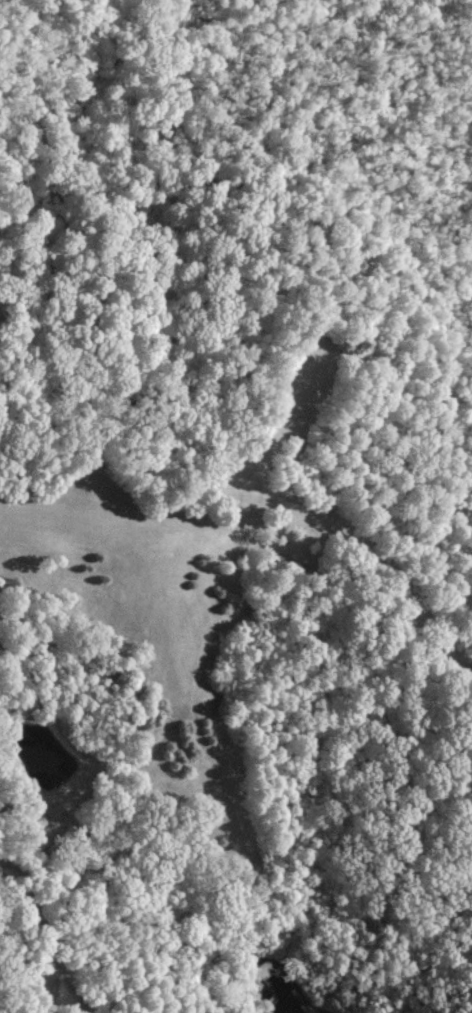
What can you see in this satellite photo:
road: (44, 949)

